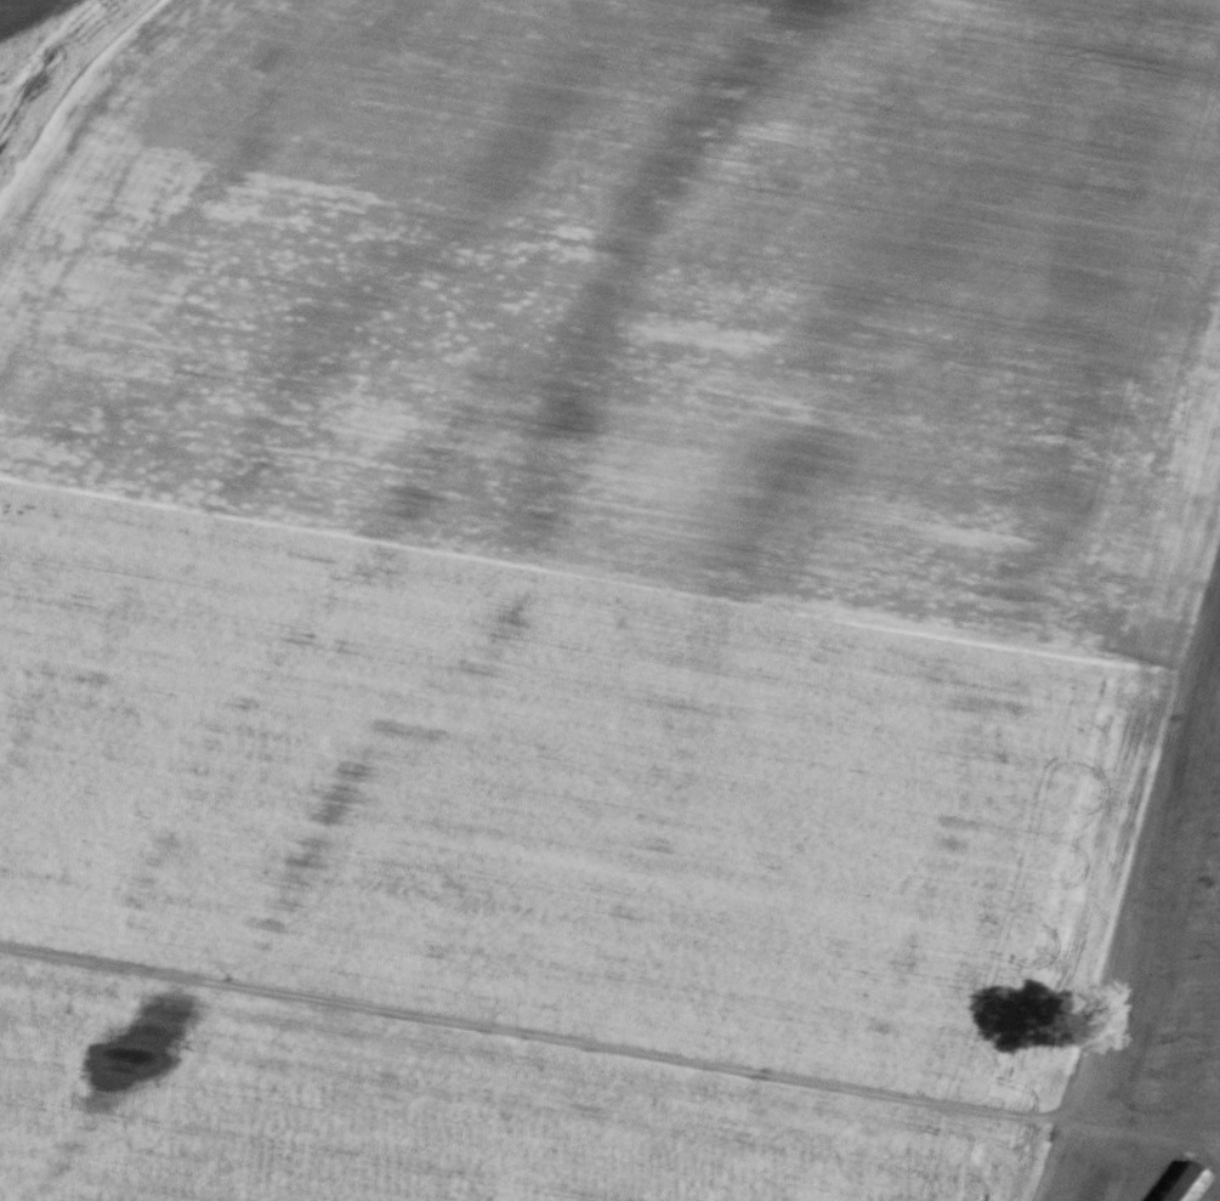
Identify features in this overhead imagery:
building: (1184, 1183)

